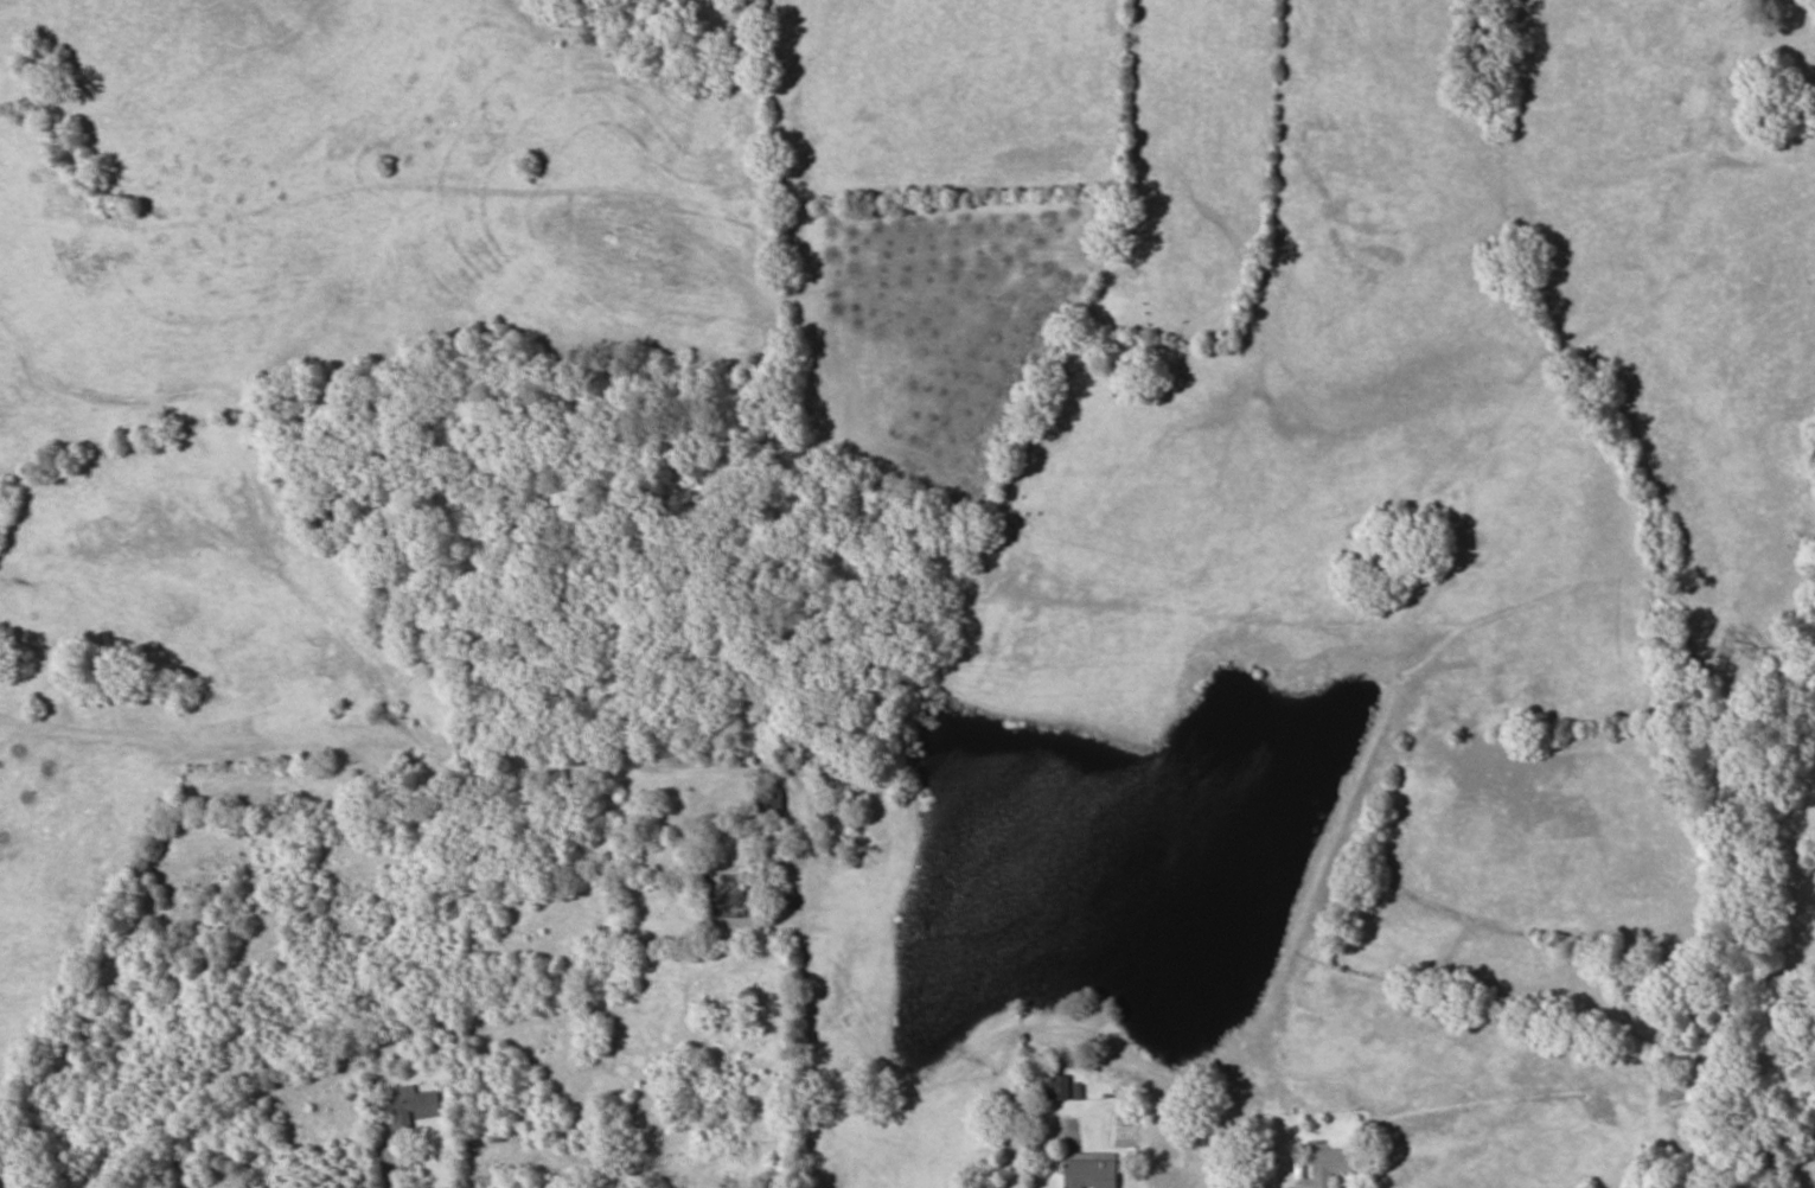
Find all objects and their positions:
building: (726, 895)
building: (1059, 1087)
building: (413, 1107)
building: (1334, 1164)
building: (1092, 1171)

